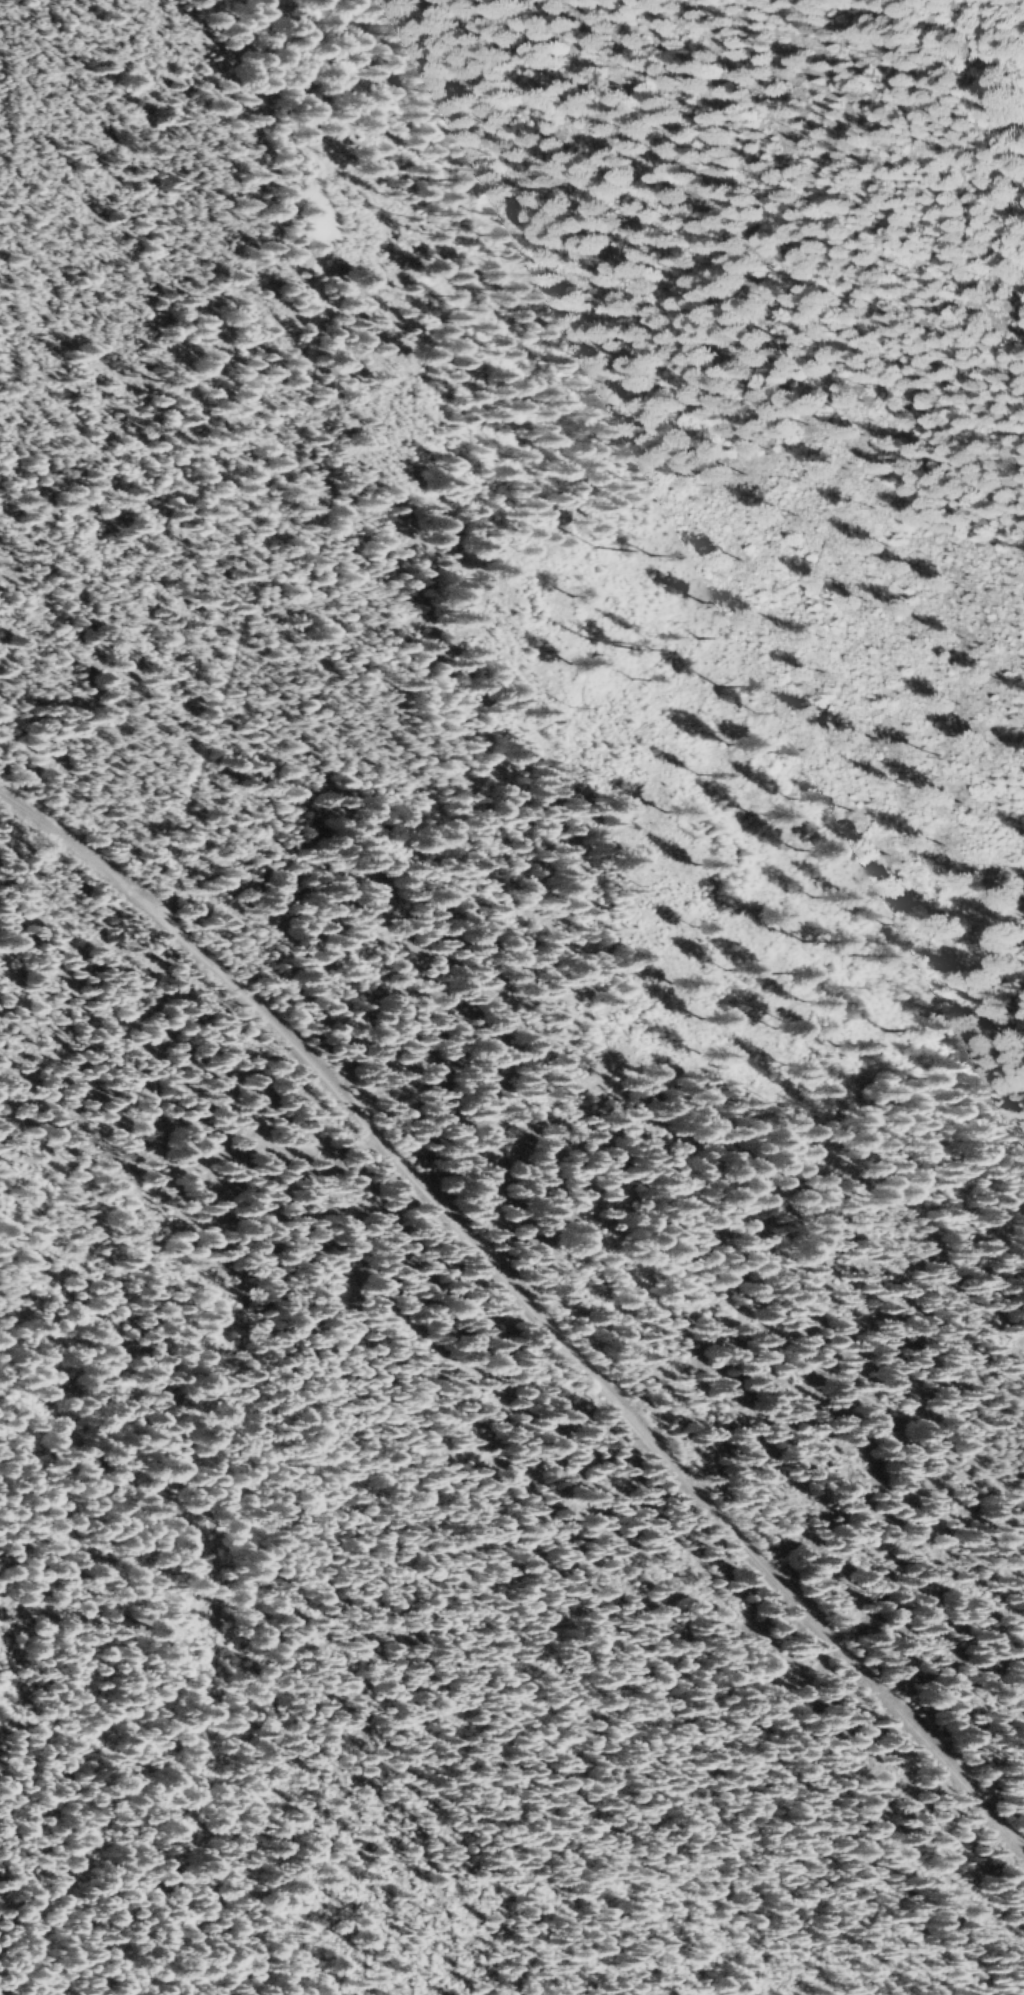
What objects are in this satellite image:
road: (307, 468)
road: (527, 1309)

